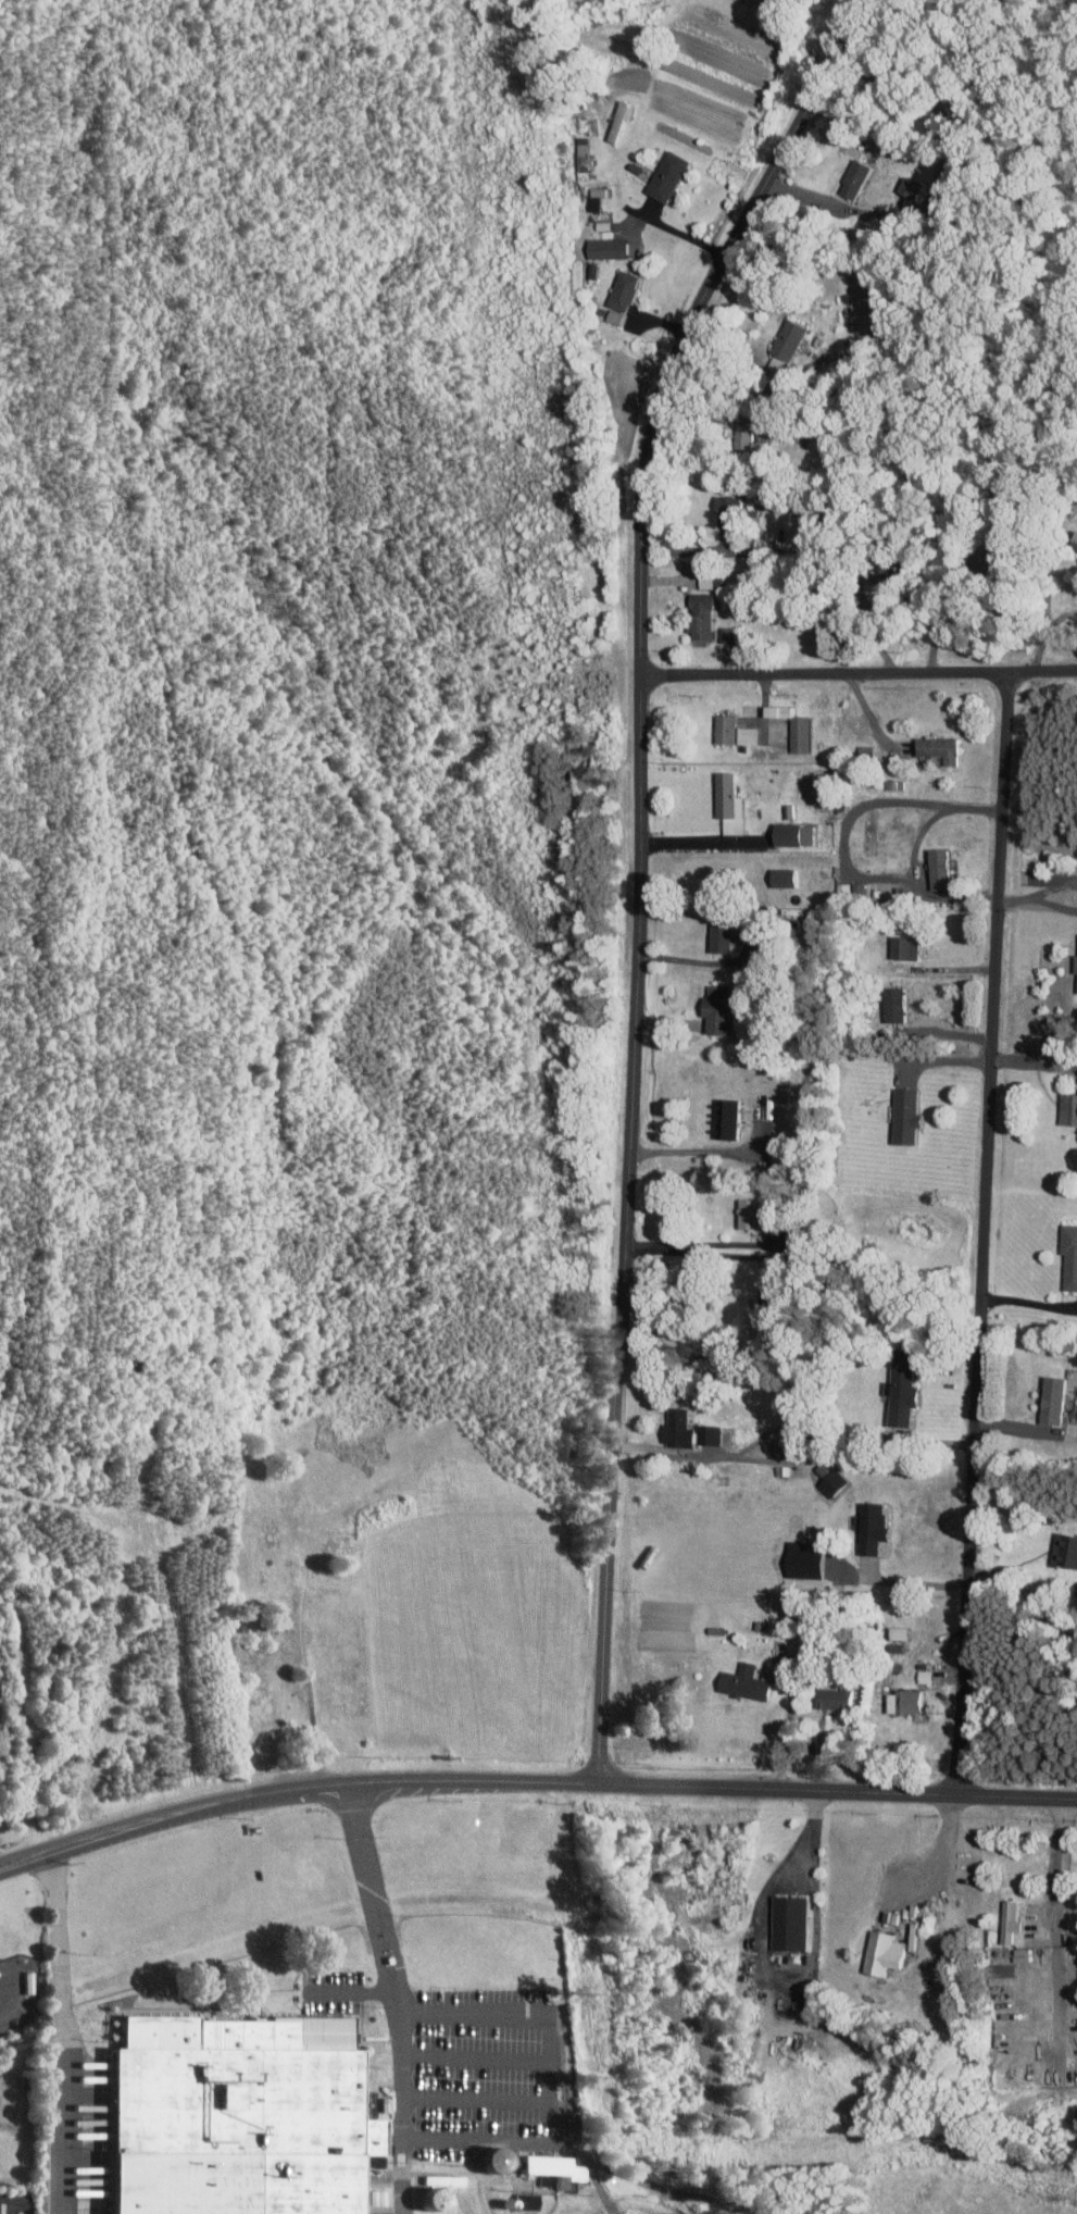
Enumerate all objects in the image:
building: (624, 119)
building: (586, 159)
building: (671, 175)
building: (861, 177)
road: (675, 231)
building: (611, 248)
building: (627, 289)
building: (797, 335)
road: (764, 396)
building: (729, 510)
building: (997, 562)
building: (705, 619)
road: (940, 619)
road: (1044, 633)
building: (730, 634)
road: (859, 673)
building: (730, 729)
building: (752, 735)
building: (941, 748)
building: (730, 794)
building: (799, 834)
road: (703, 842)
road: (840, 846)
road: (637, 867)
building: (943, 869)
building: (788, 876)
road: (1051, 887)
road: (1013, 899)
road: (1051, 904)
building: (726, 934)
building: (905, 947)
road: (696, 960)
building: (721, 1009)
road: (935, 1061)
building: (1070, 1108)
building: (910, 1116)
building: (730, 1118)
road: (698, 1150)
building: (752, 1214)
road: (981, 1232)
road: (750, 1244)
building: (1072, 1255)
road: (1028, 1303)
building: (906, 1395)
building: (1057, 1400)
building: (691, 1430)
road: (761, 1439)
building: (787, 1447)
building: (837, 1483)
building: (875, 1527)
building: (1067, 1550)
road: (907, 1583)
building: (927, 1674)
building: (751, 1682)
building: (838, 1699)
building: (910, 1702)
road: (786, 1737)
road: (533, 1780)
building: (1013, 1921)
building: (794, 1924)
road: (1051, 1930)
building: (888, 1953)
road: (61, 1955)
building: (1010, 1970)
road: (9, 1981)
road: (354, 1991)
road: (400, 1994)
road: (552, 2081)
building: (235, 2115)
road: (63, 2138)
building: (506, 2157)
building: (560, 2168)
building: (449, 2186)
building: (531, 2200)

